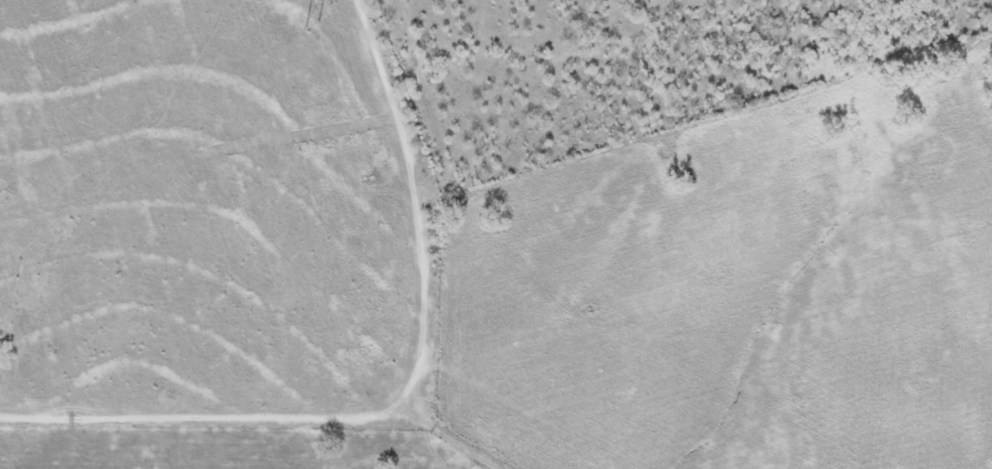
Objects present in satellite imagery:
power tower: (310, 24)
road: (406, 398)

